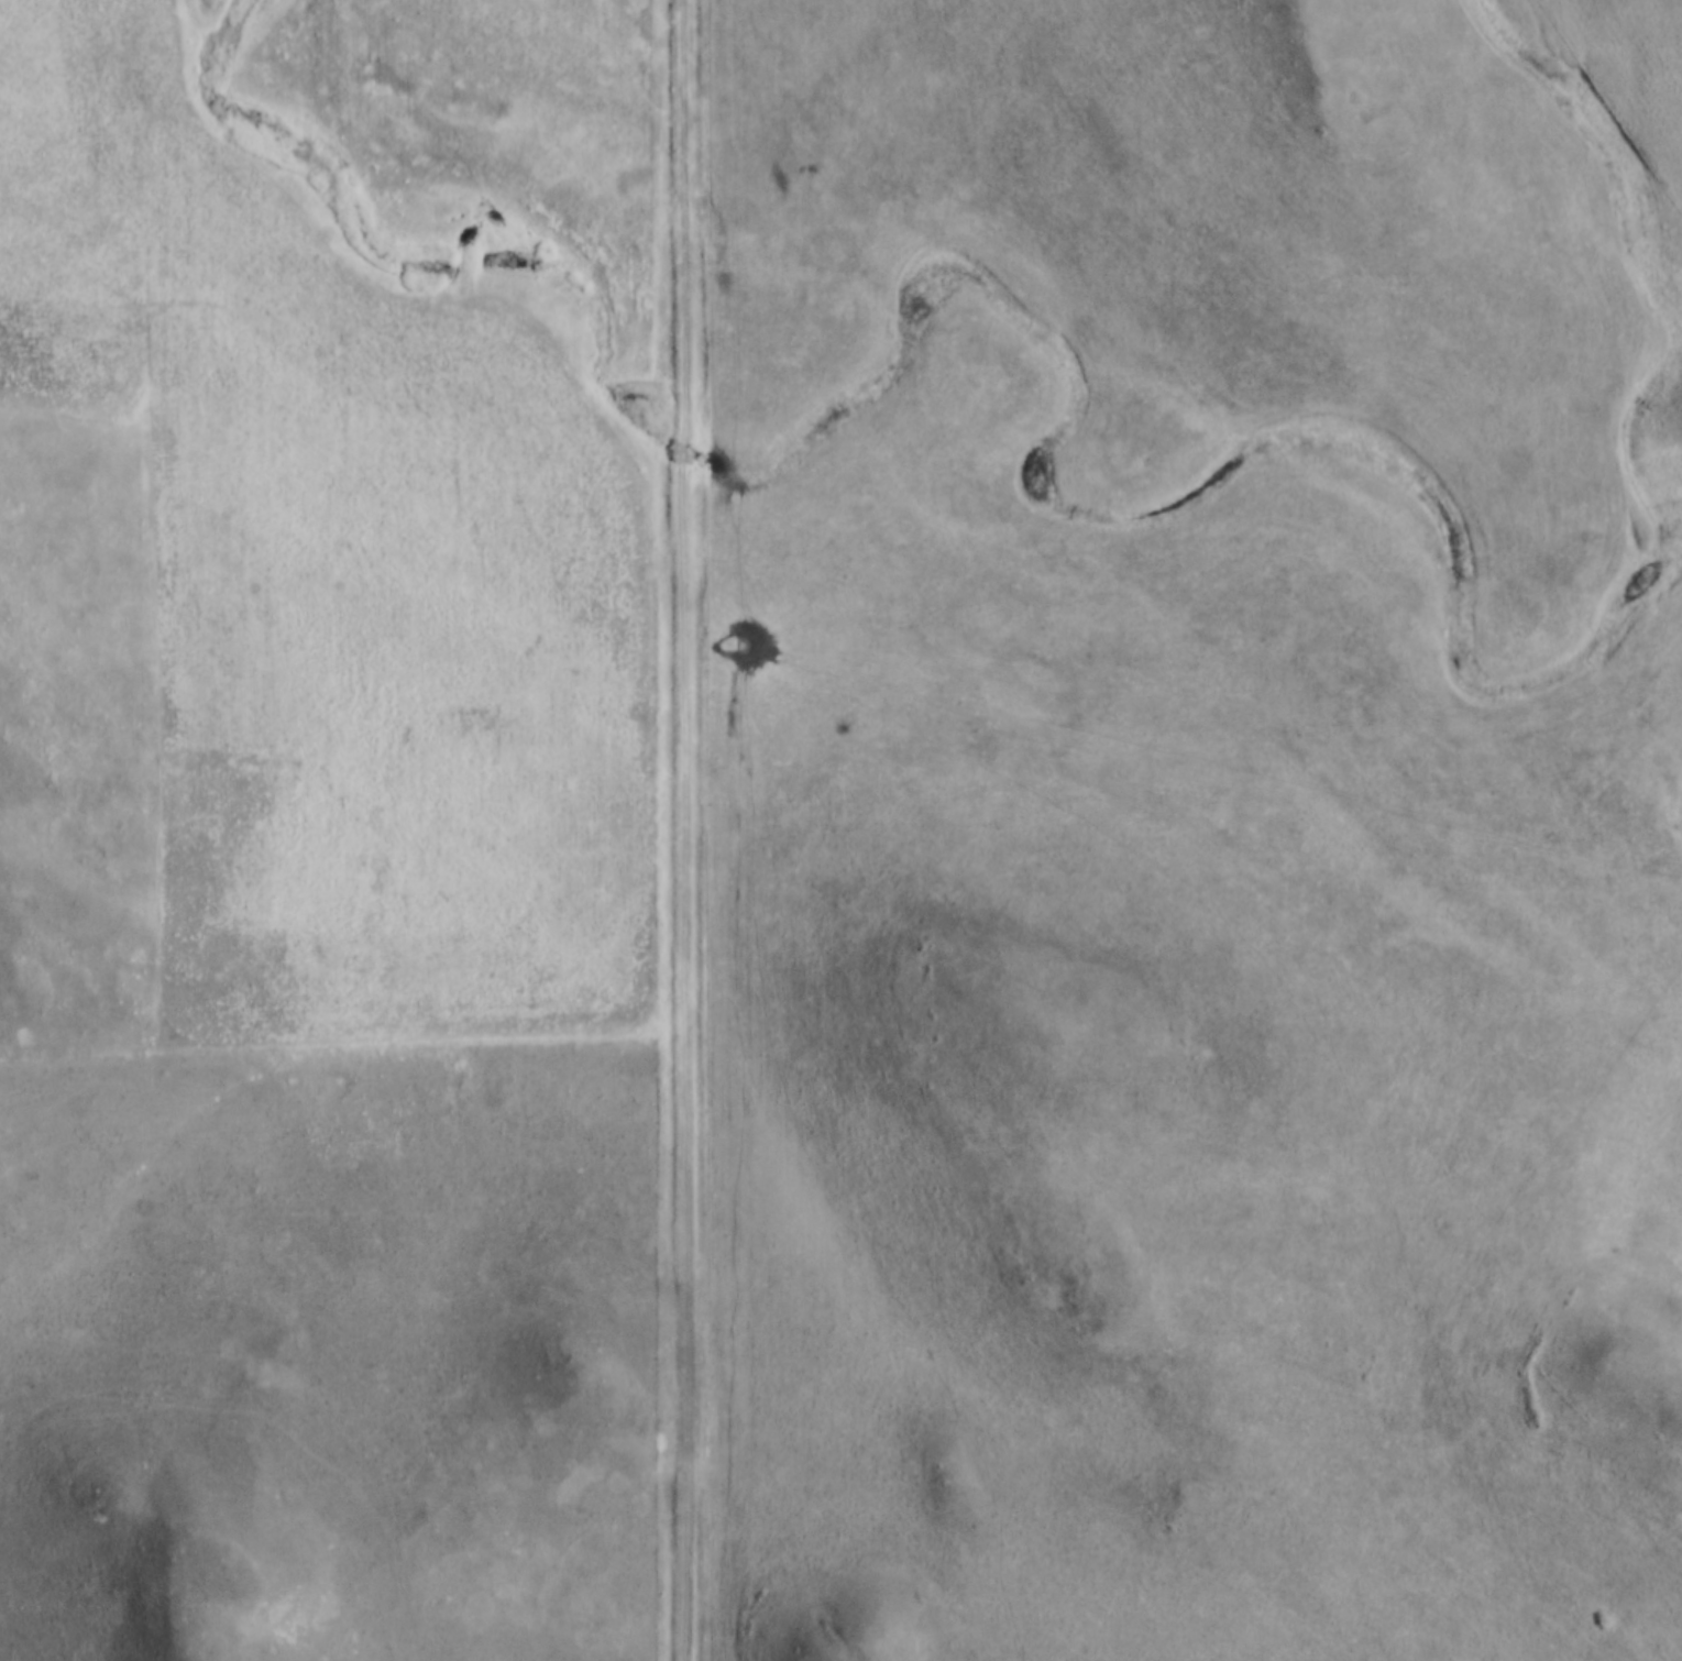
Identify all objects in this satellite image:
road: (689, 831)

